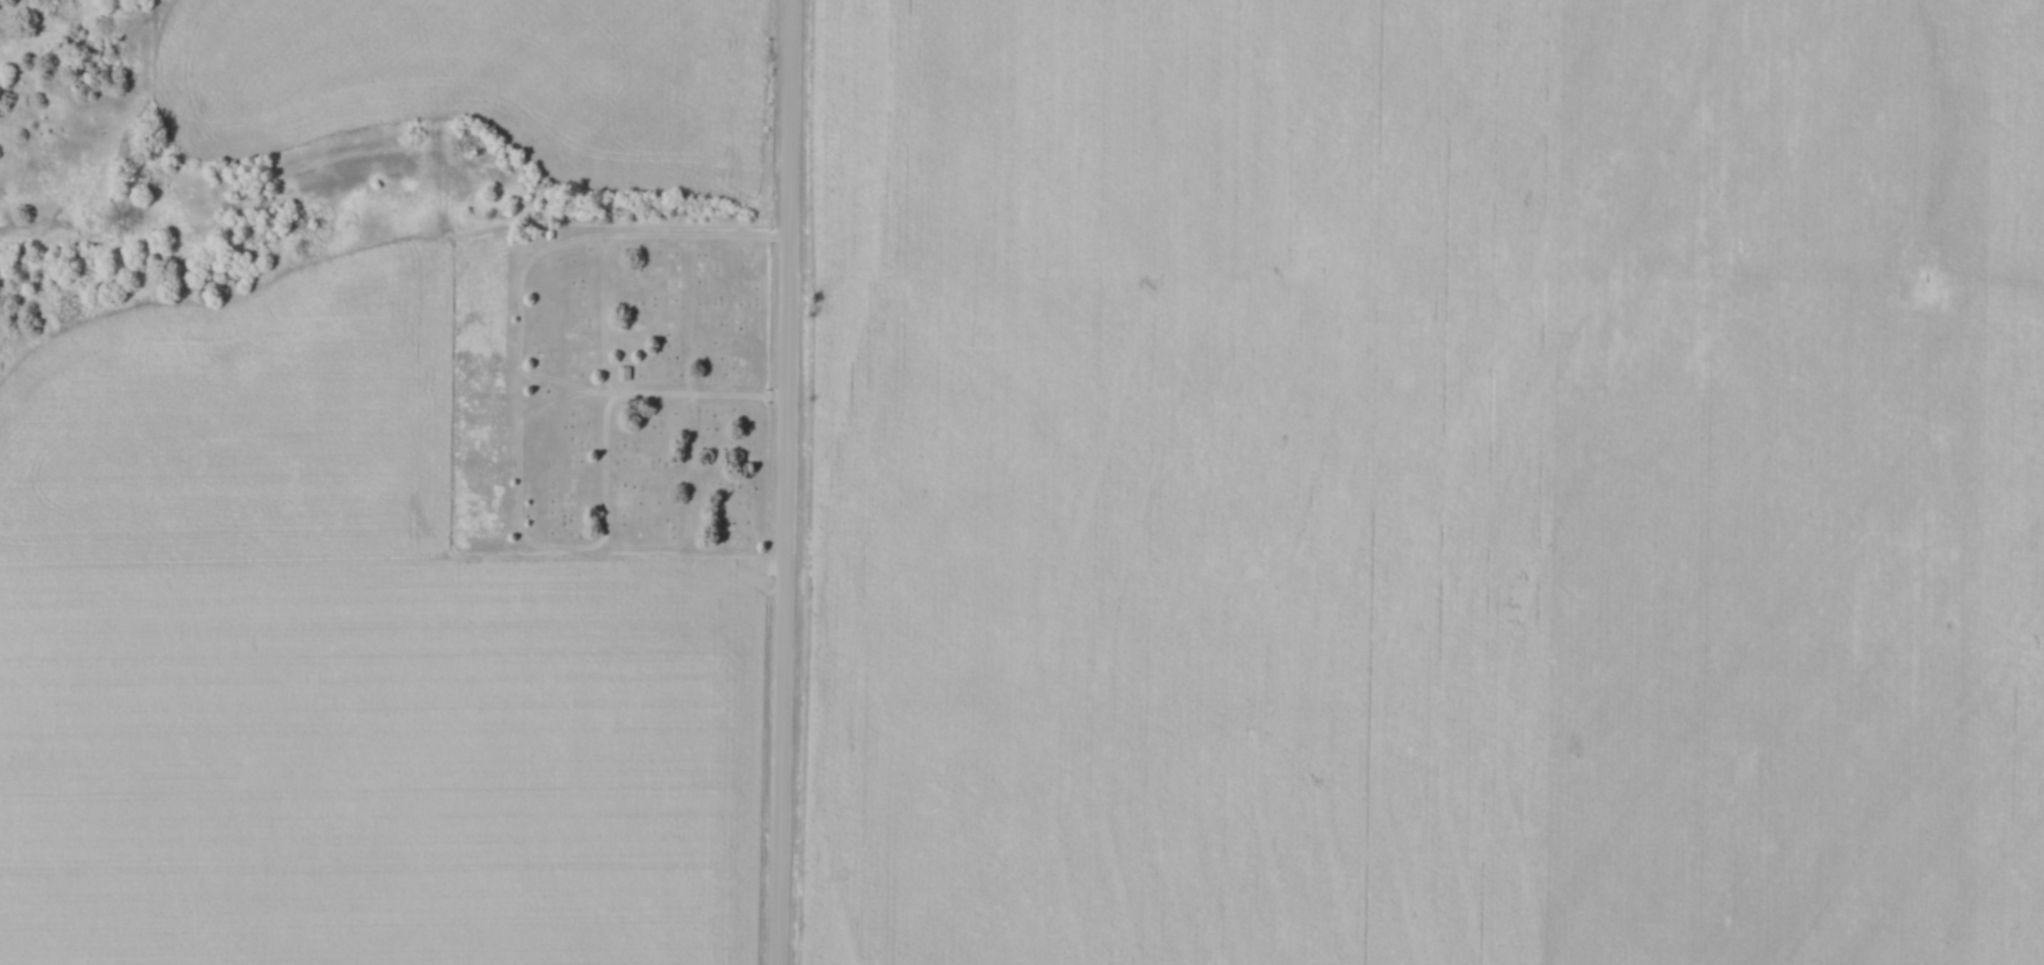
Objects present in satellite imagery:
crop: (10, 6)
crop: (497, 70)
building: (622, 373)
road: (685, 392)
road: (786, 482)
crop: (1419, 482)
crop: (339, 666)

